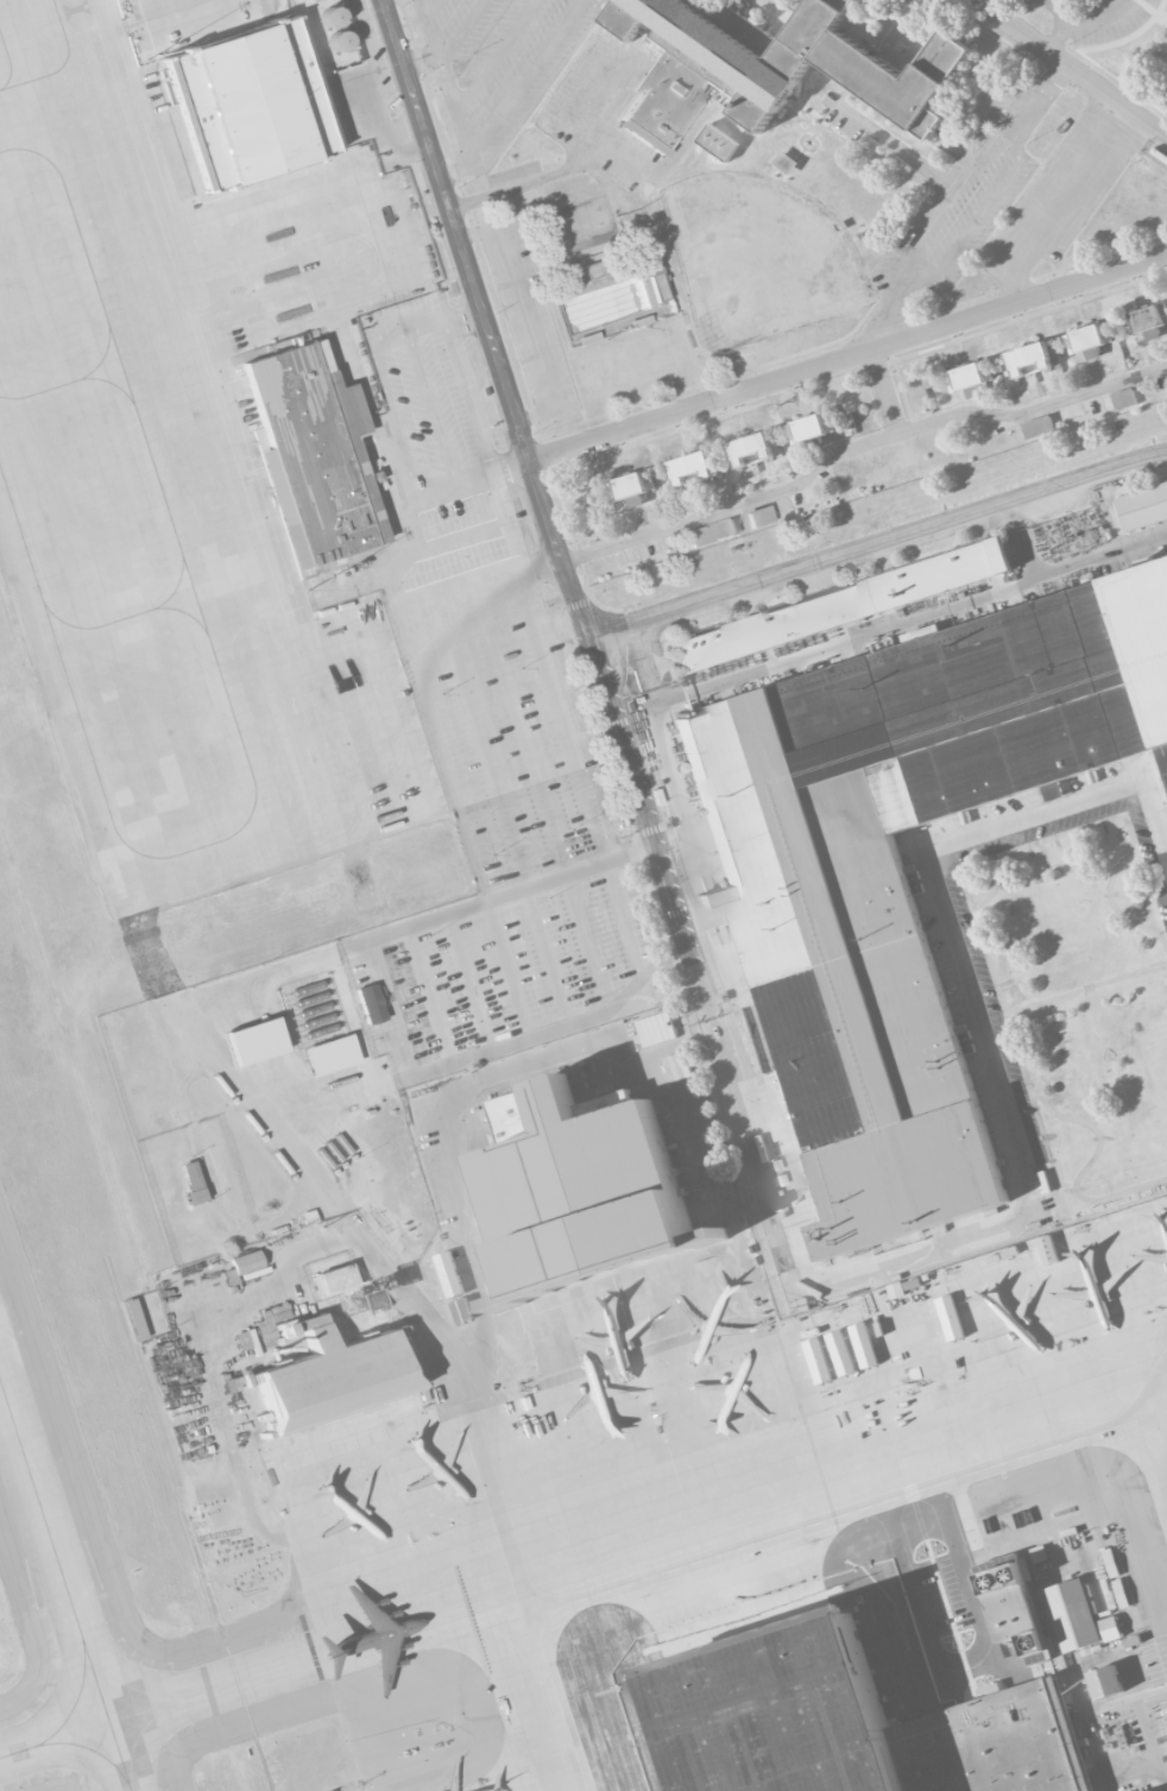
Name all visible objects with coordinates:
road: (434, 43)
road: (1071, 68)
building: (767, 69)
building: (251, 105)
building: (718, 141)
road: (902, 149)
road: (569, 169)
road: (1054, 187)
road: (965, 202)
road: (1085, 204)
park: (753, 259)
road: (1017, 290)
building: (1149, 321)
building: (1087, 340)
road: (847, 359)
building: (1028, 360)
building: (964, 378)
building: (1123, 399)
building: (1037, 427)
building: (806, 429)
road: (859, 446)
building: (750, 449)
airport terminal: (314, 458)
building: (314, 458)
building: (689, 468)
airport apron: (183, 477)
building: (633, 487)
building: (1143, 509)
building: (759, 517)
building: (712, 532)
road: (878, 546)
building: (840, 606)
road: (587, 629)
road: (847, 642)
building: (902, 862)
building: (370, 1004)
building: (256, 1042)
building: (329, 1055)
airport: (429, 1092)
airport hangar: (583, 1191)
building: (583, 1191)
building: (241, 1266)
building: (336, 1280)
building: (134, 1320)
airport hangar: (333, 1379)
building: (333, 1379)
airport apron: (767, 1539)
airport taxiway: (64, 1588)
building: (1072, 1614)
building: (1109, 1628)
building: (1105, 1680)
airport taxiway: (160, 1703)
building: (850, 1722)
airport taxiway: (39, 1741)
building: (1153, 1790)

